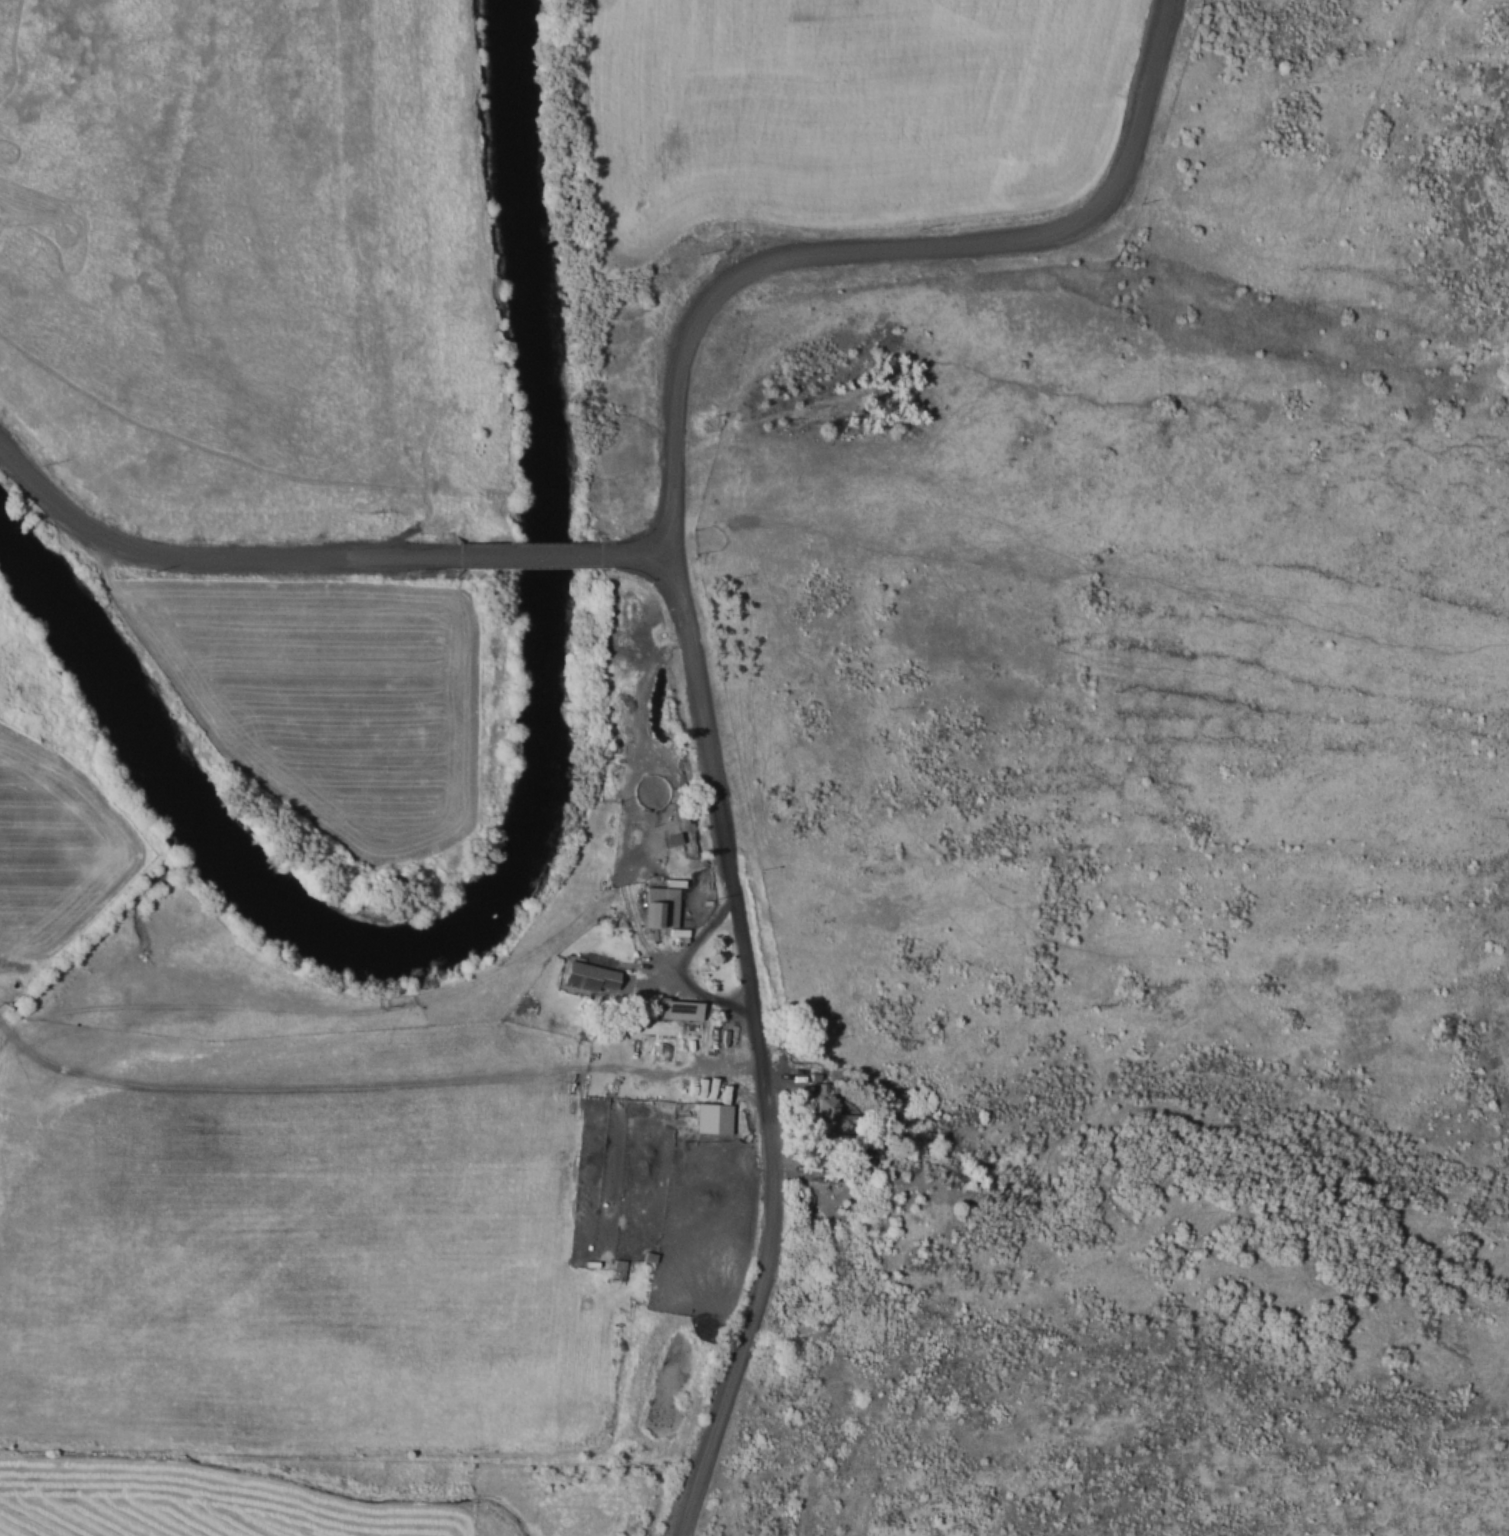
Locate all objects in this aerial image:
road: (879, 245)
road: (642, 552)
road: (528, 553)
road: (201, 555)
river: (532, 808)
building: (660, 906)
building: (587, 975)
building: (678, 1009)
road: (753, 1046)
building: (713, 1117)
building: (833, 1118)
building: (618, 1269)

